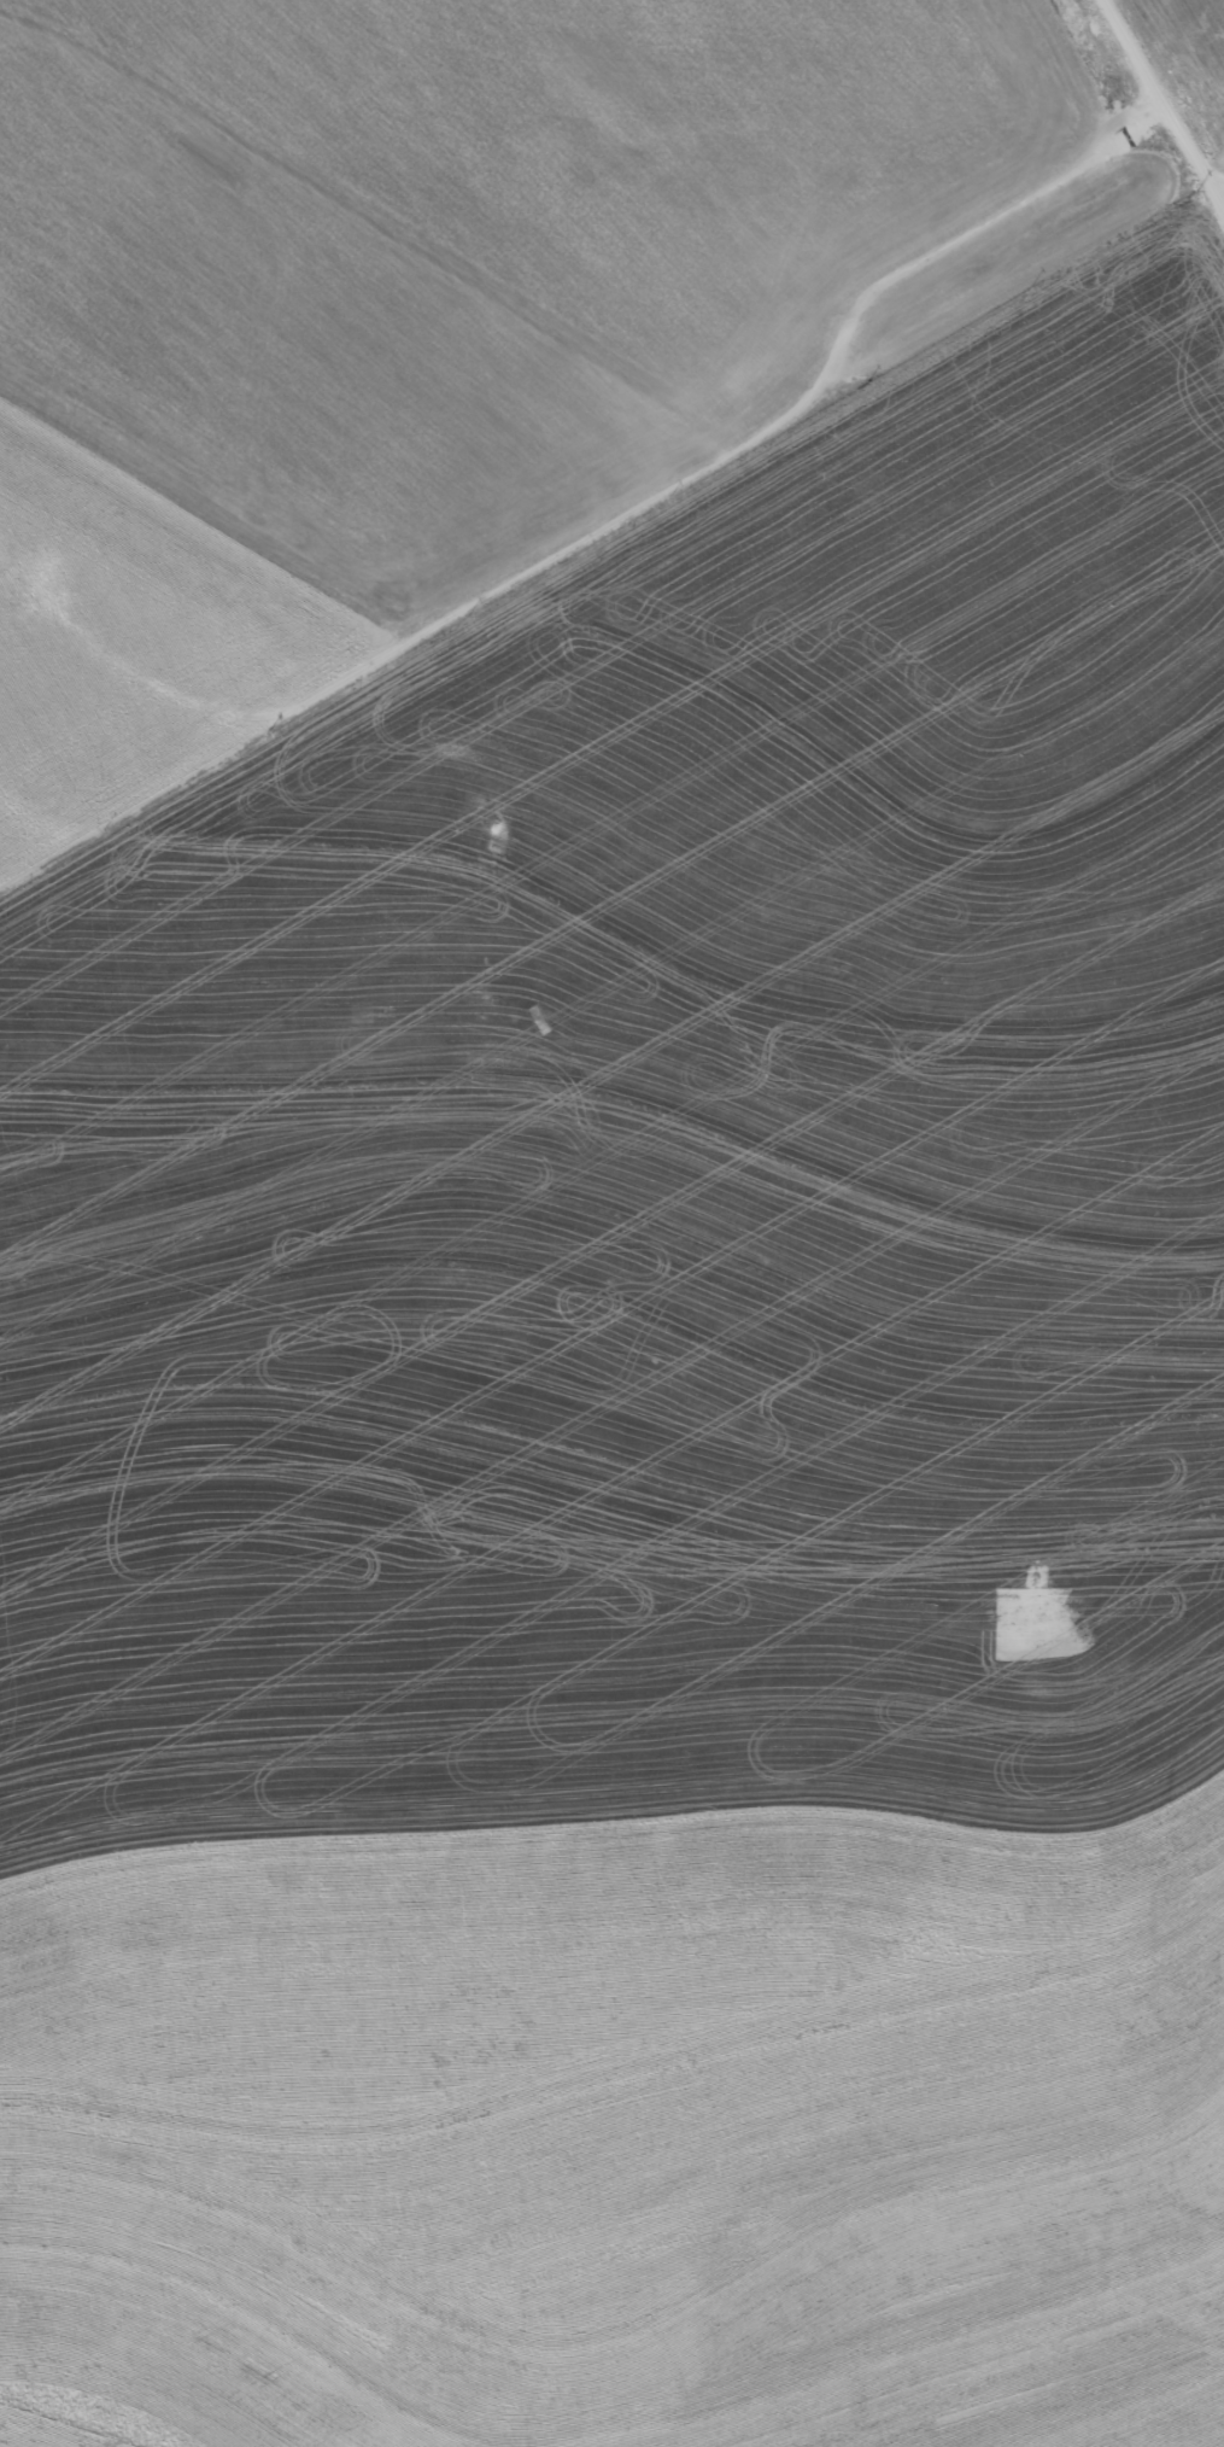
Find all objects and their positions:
road: (1162, 101)
road: (1219, 185)

